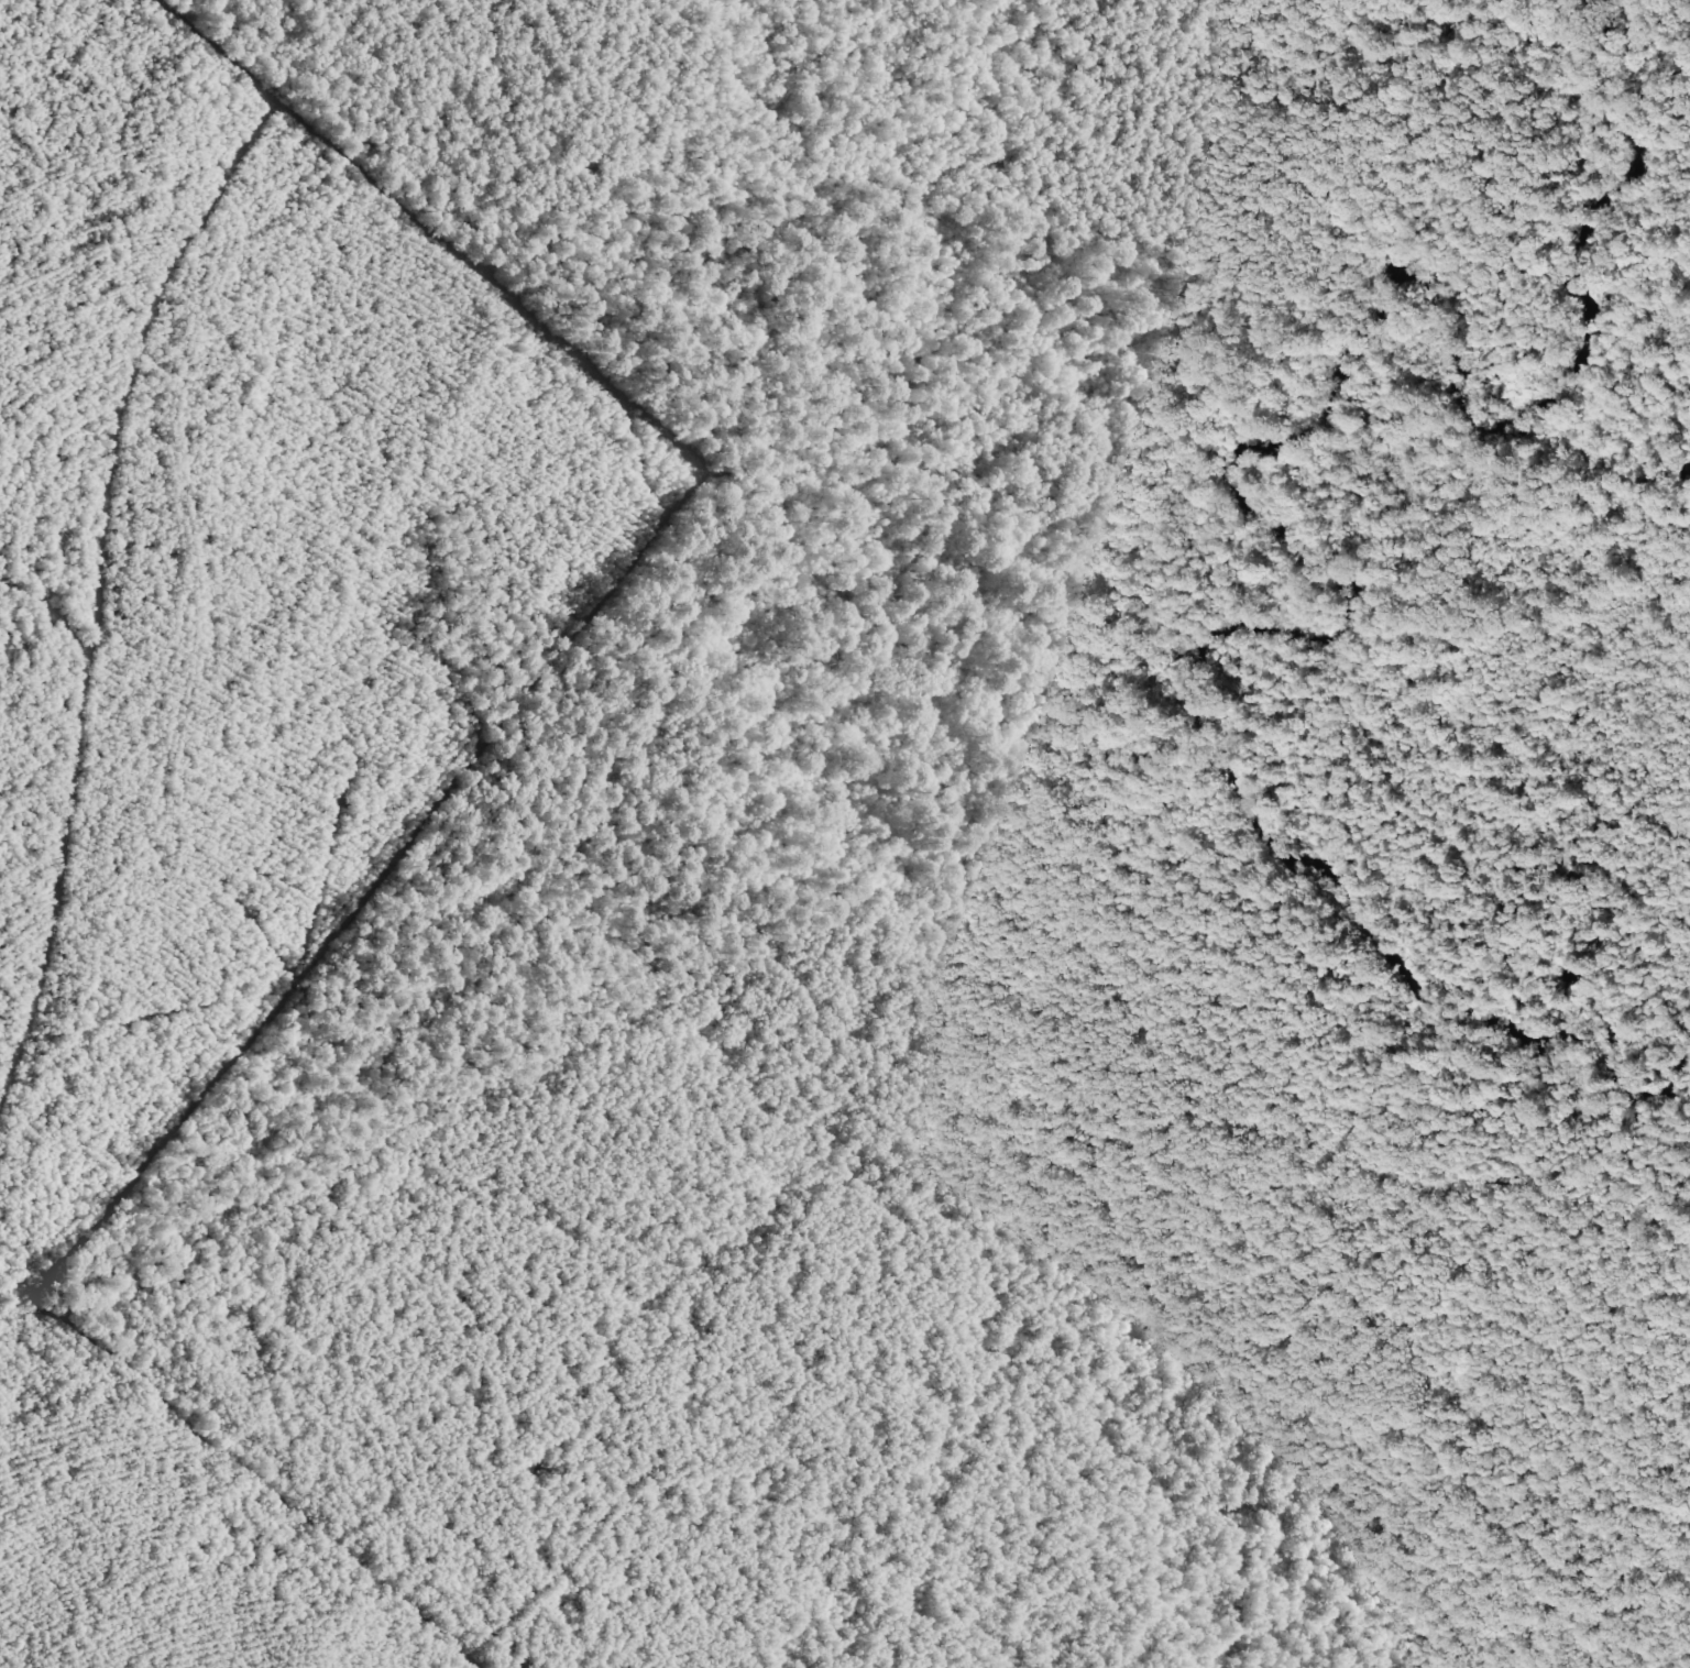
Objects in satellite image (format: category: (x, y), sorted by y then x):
road: (1680, 426)

